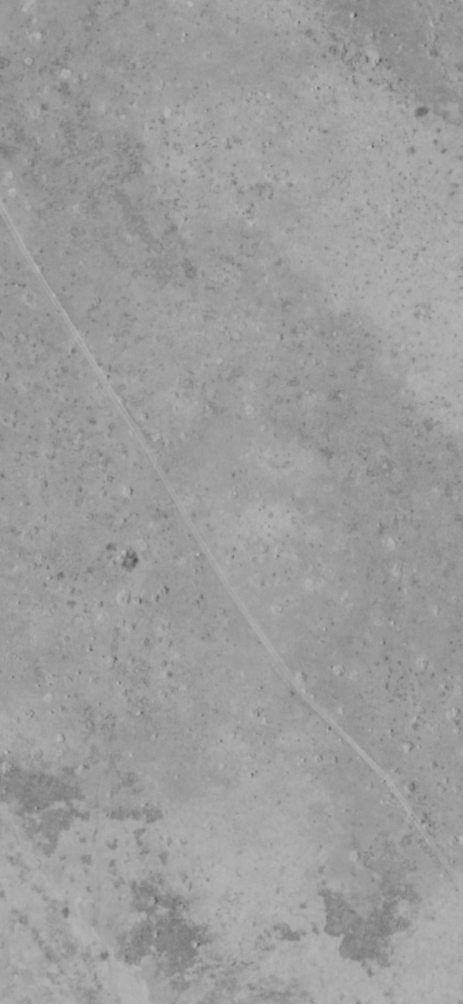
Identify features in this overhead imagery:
road: (231, 549)

